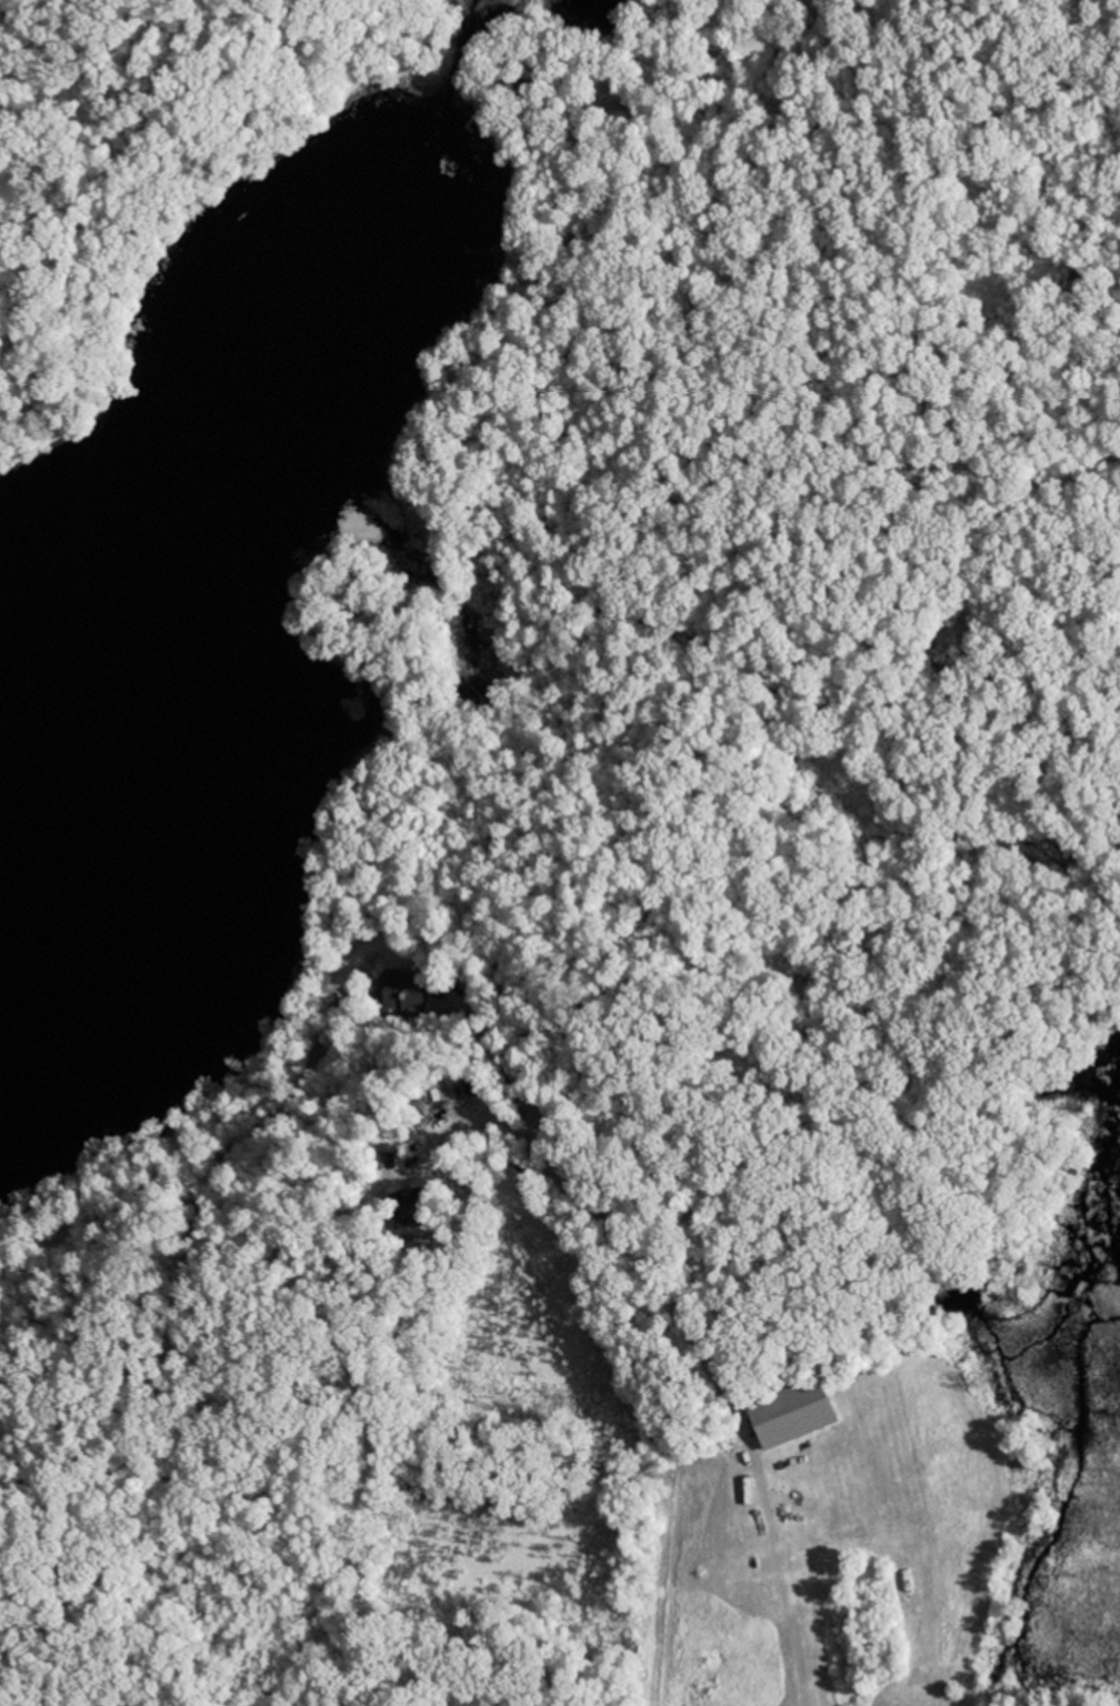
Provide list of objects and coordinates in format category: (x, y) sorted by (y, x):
building: (519, 90)
road: (730, 104)
building: (399, 994)
road: (676, 1060)
building: (408, 1210)
building: (789, 1415)
road: (383, 1610)

